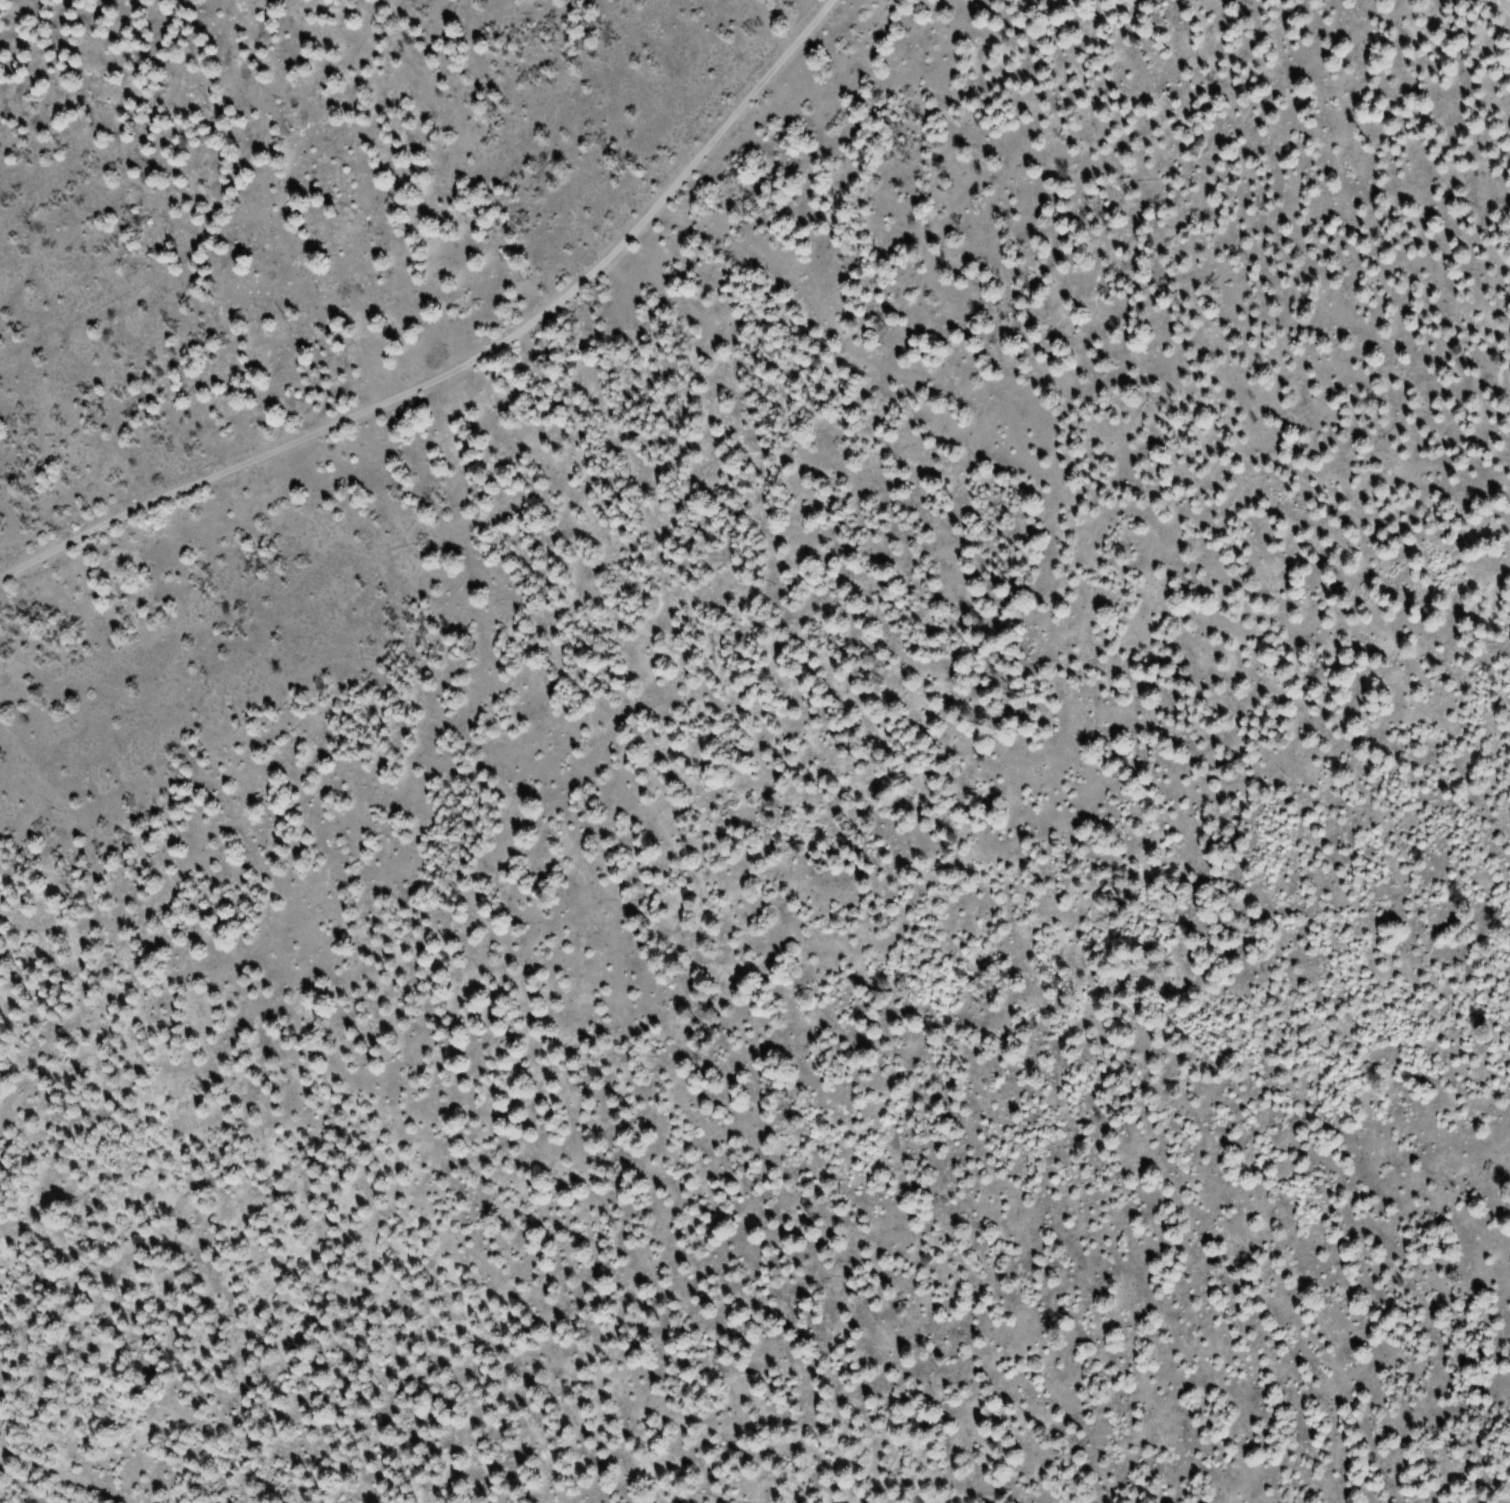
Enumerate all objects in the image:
road: (469, 370)
road: (64, 1475)
road: (63, 1489)

